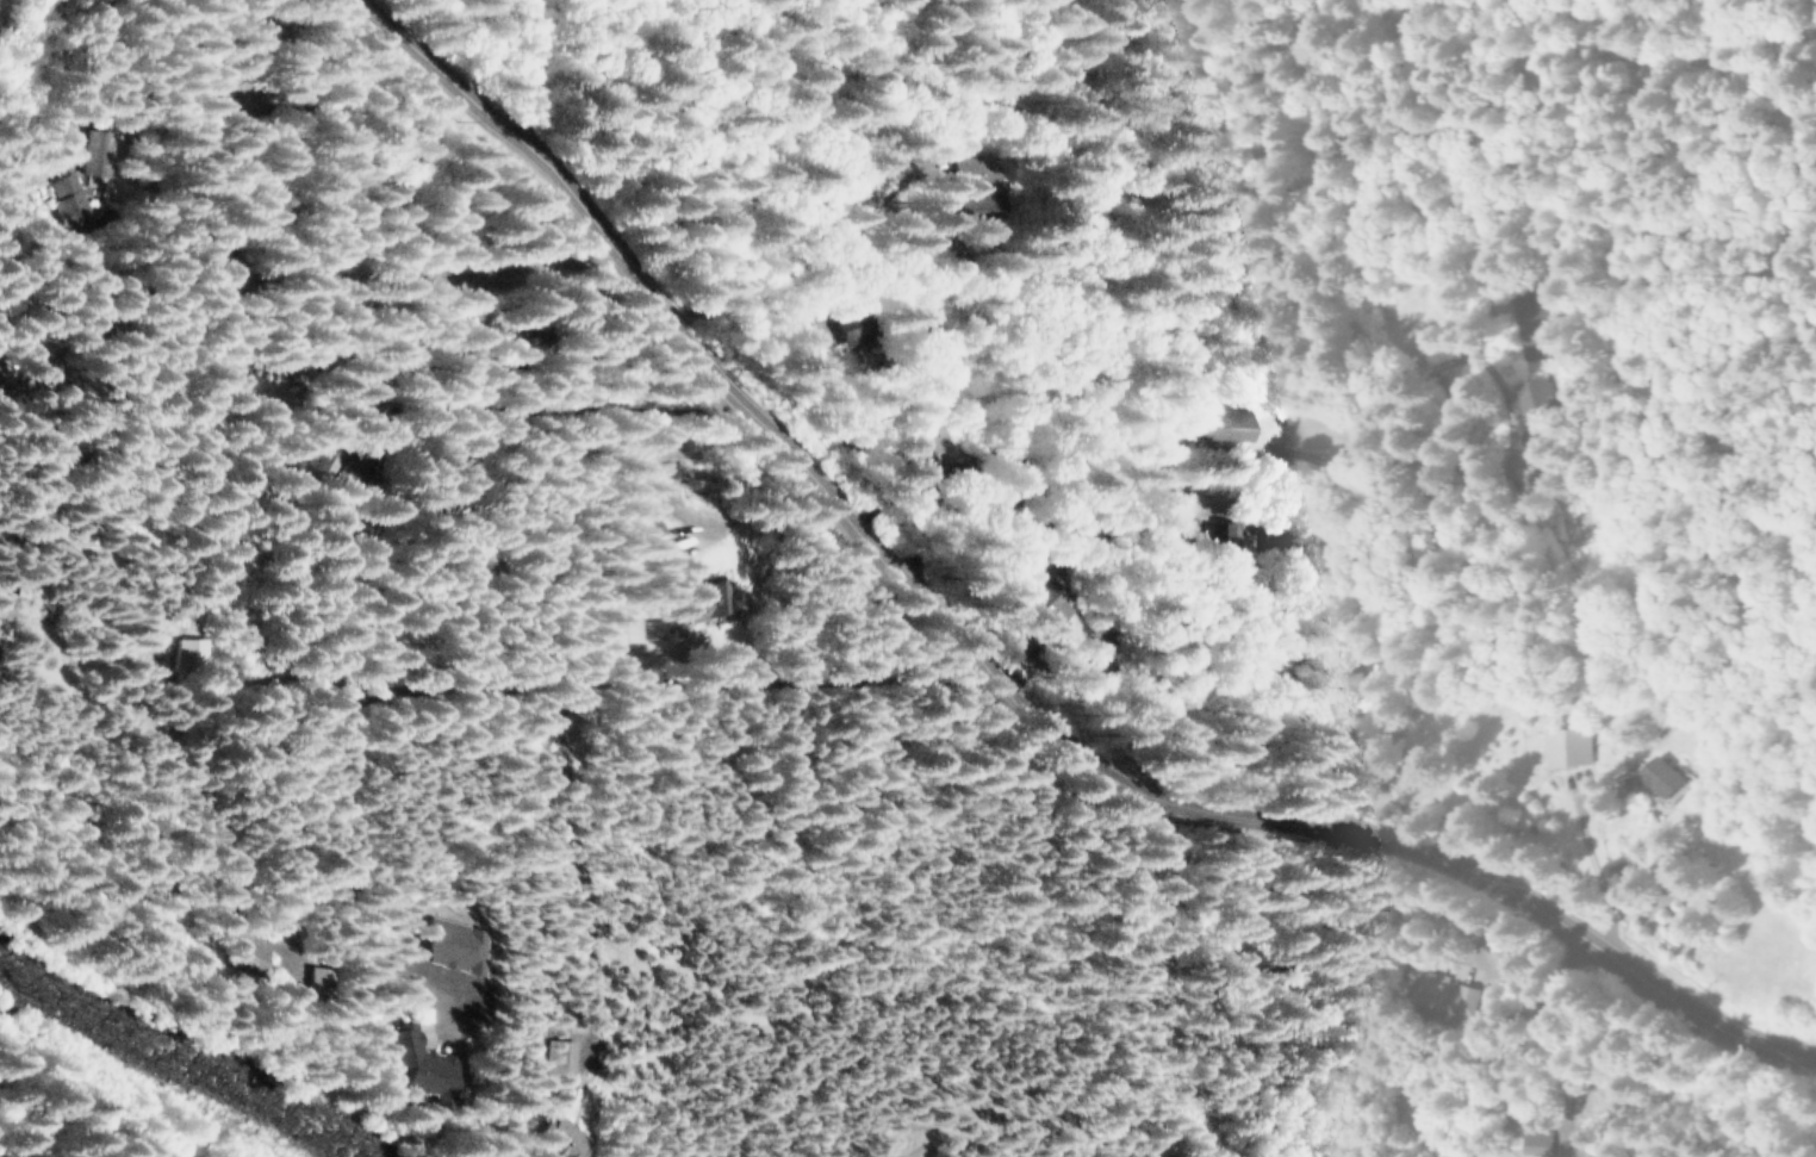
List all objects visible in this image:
building: (12, 14)
building: (133, 156)
road: (58, 173)
building: (106, 203)
road: (608, 253)
road: (517, 273)
road: (976, 285)
building: (887, 329)
building: (8, 372)
building: (1511, 396)
building: (1243, 424)
building: (966, 441)
building: (944, 443)
building: (388, 465)
road: (832, 465)
building: (1213, 525)
building: (671, 546)
building: (728, 599)
road: (36, 605)
building: (1083, 609)
building: (653, 629)
road: (1369, 636)
building: (1, 651)
building: (197, 654)
road: (584, 677)
building: (1563, 747)
building: (1654, 777)
road: (1597, 876)
road: (1581, 934)
building: (462, 946)
building: (257, 954)
building: (332, 983)
building: (1443, 995)
building: (558, 1058)
river: (191, 1063)
building: (417, 1064)
building: (559, 1140)
building: (1537, 1144)

